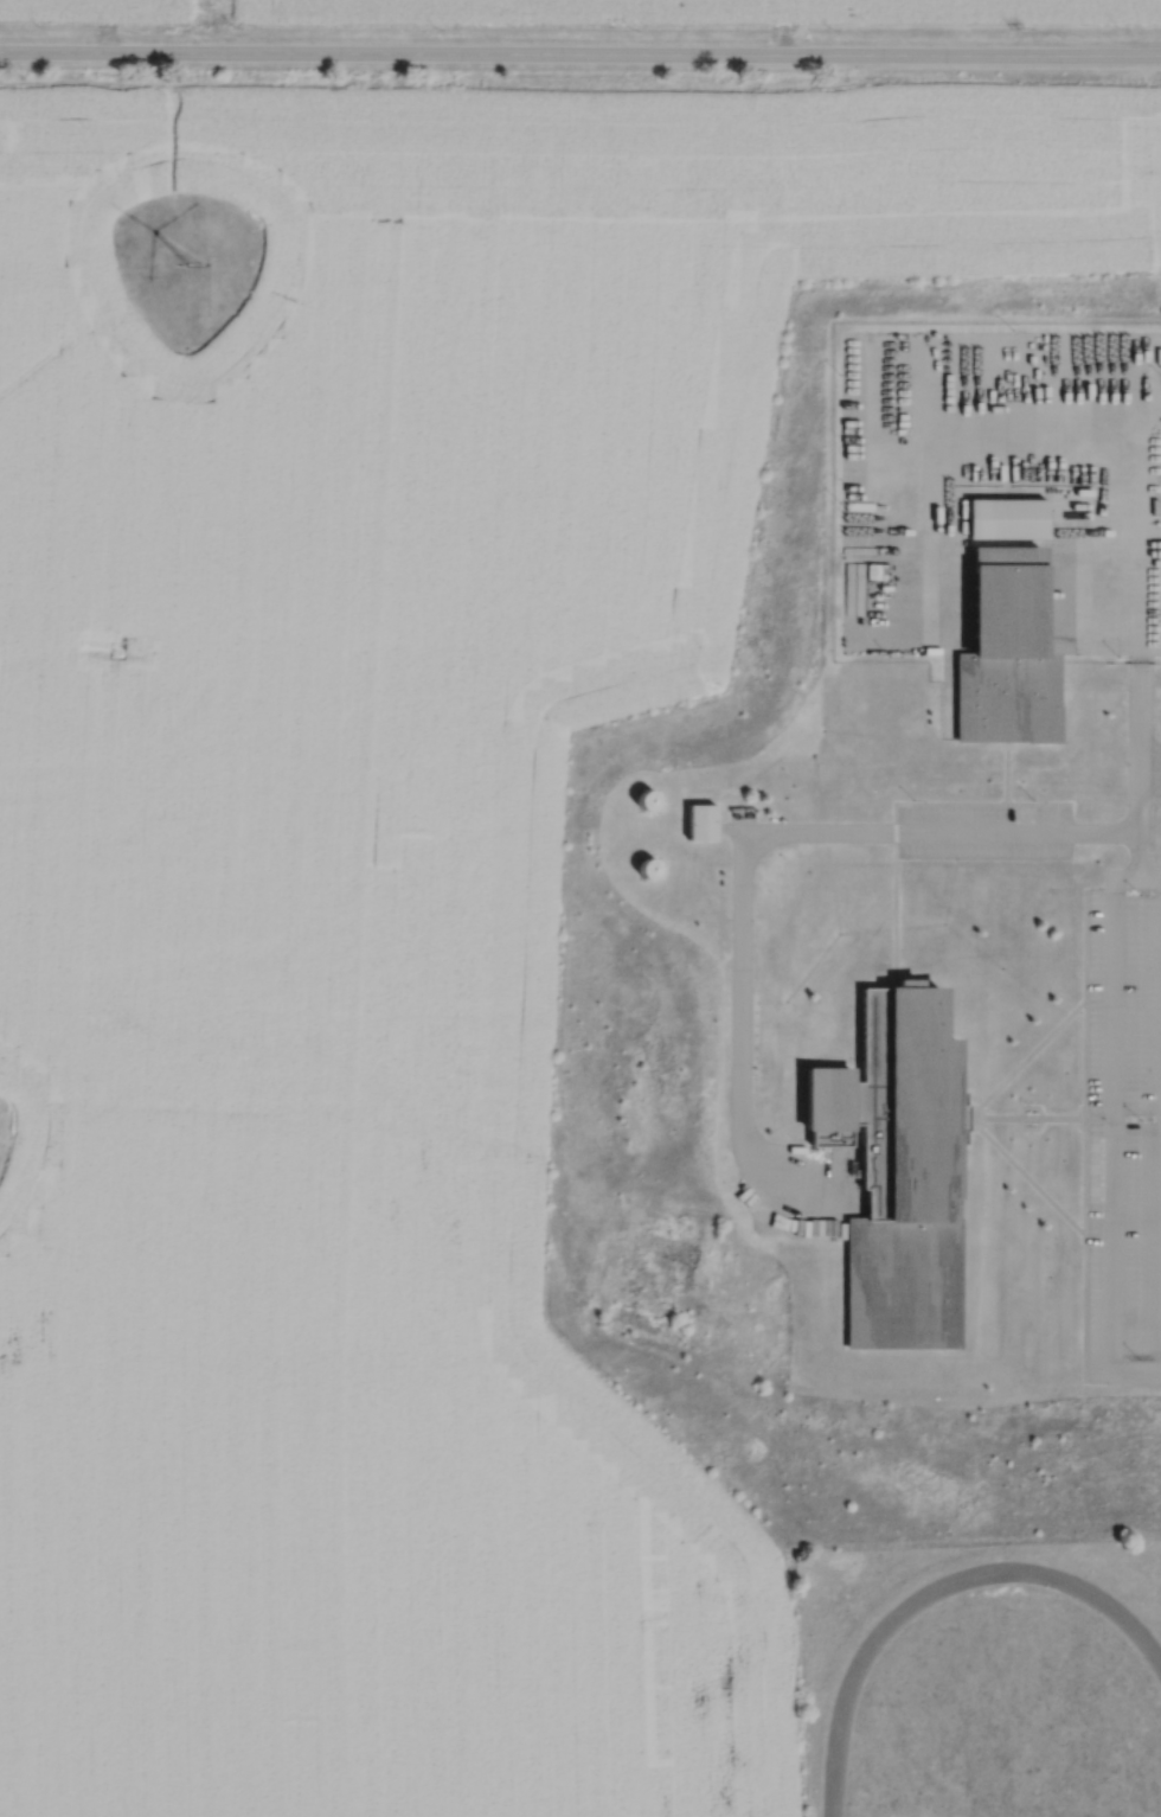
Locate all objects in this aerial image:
road: (580, 52)
road: (135, 87)
building: (1006, 518)
building: (852, 589)
building: (1007, 650)
road: (1140, 712)
road: (1006, 772)
road: (1140, 787)
building: (648, 798)
storage tank: (648, 798)
road: (896, 808)
building: (701, 821)
road: (730, 830)
parking lot: (984, 832)
road: (743, 846)
building: (648, 868)
storage tank: (648, 868)
road: (1150, 872)
road: (1032, 1053)
flagpole: (1031, 1102)
road: (1040, 1117)
road: (1044, 1118)
road: (1112, 1118)
road: (1131, 1118)
road: (980, 1128)
parking lot: (1124, 1133)
road: (1085, 1135)
building: (897, 1166)
road: (1032, 1182)

